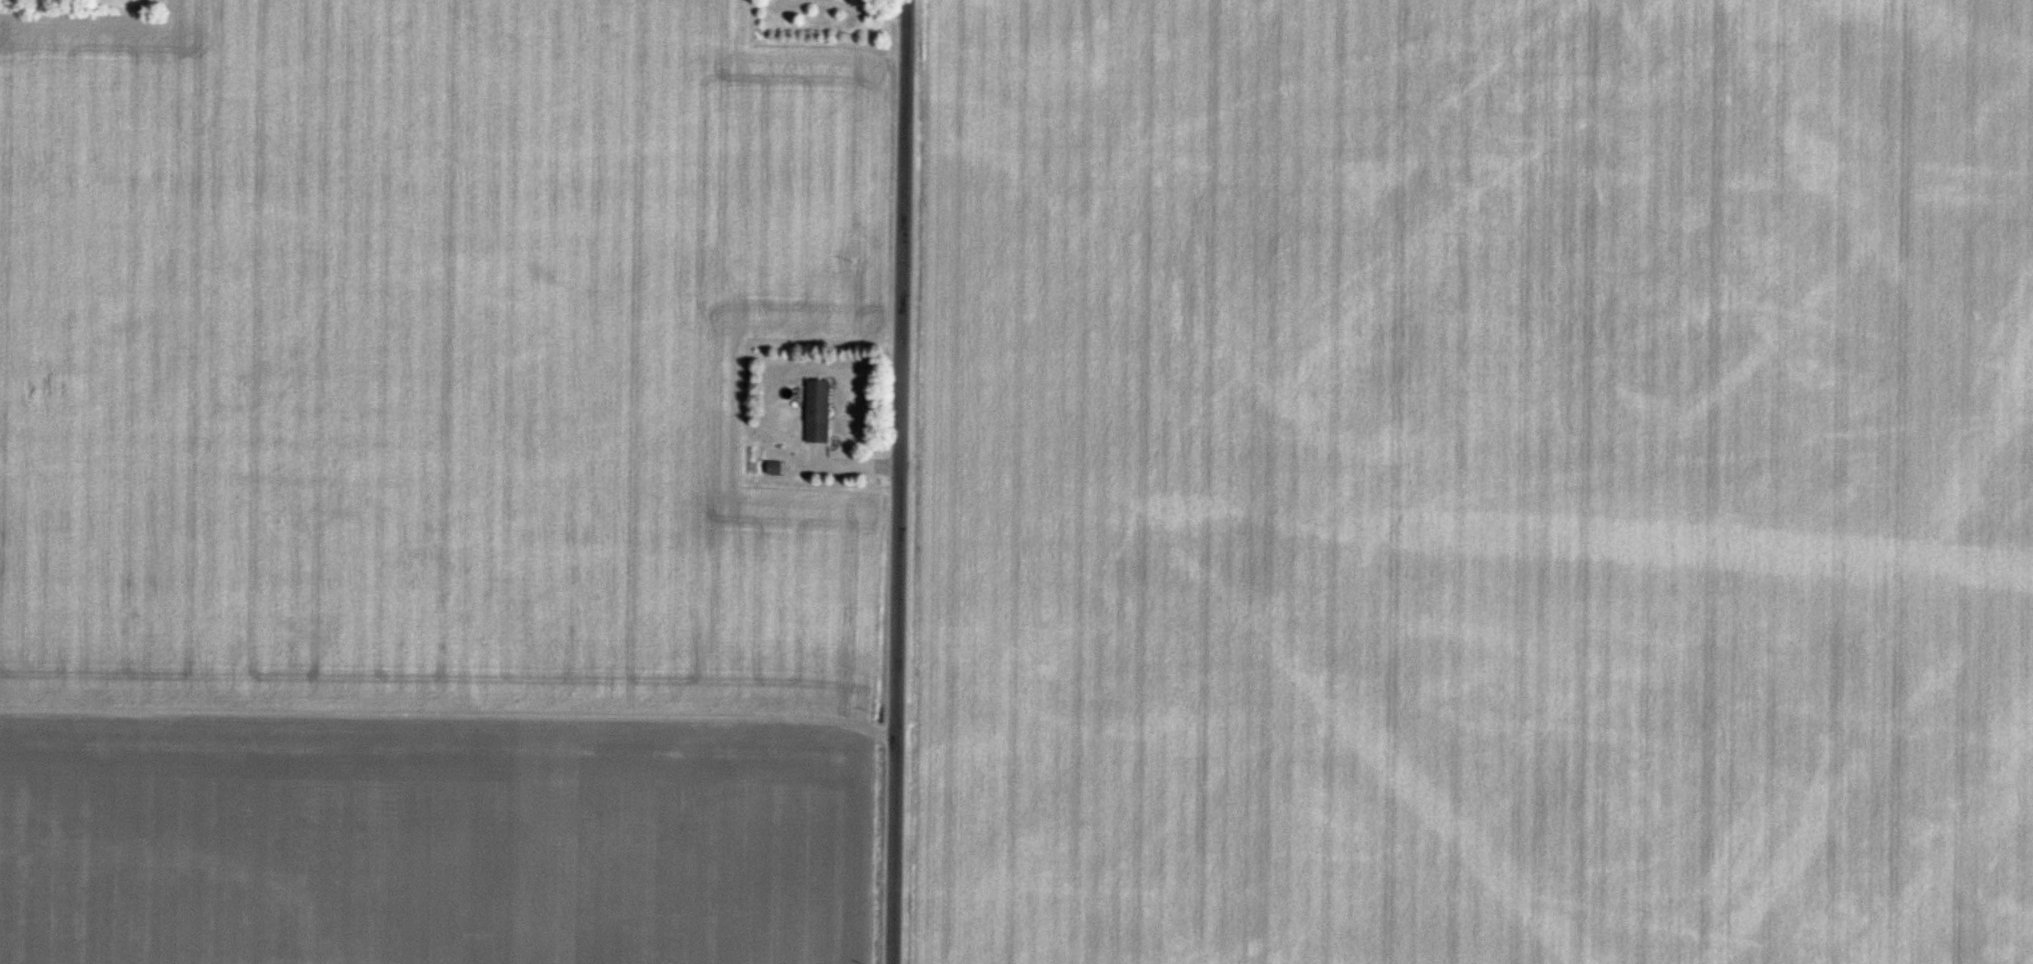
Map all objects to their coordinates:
building: (818, 411)
road: (896, 482)

